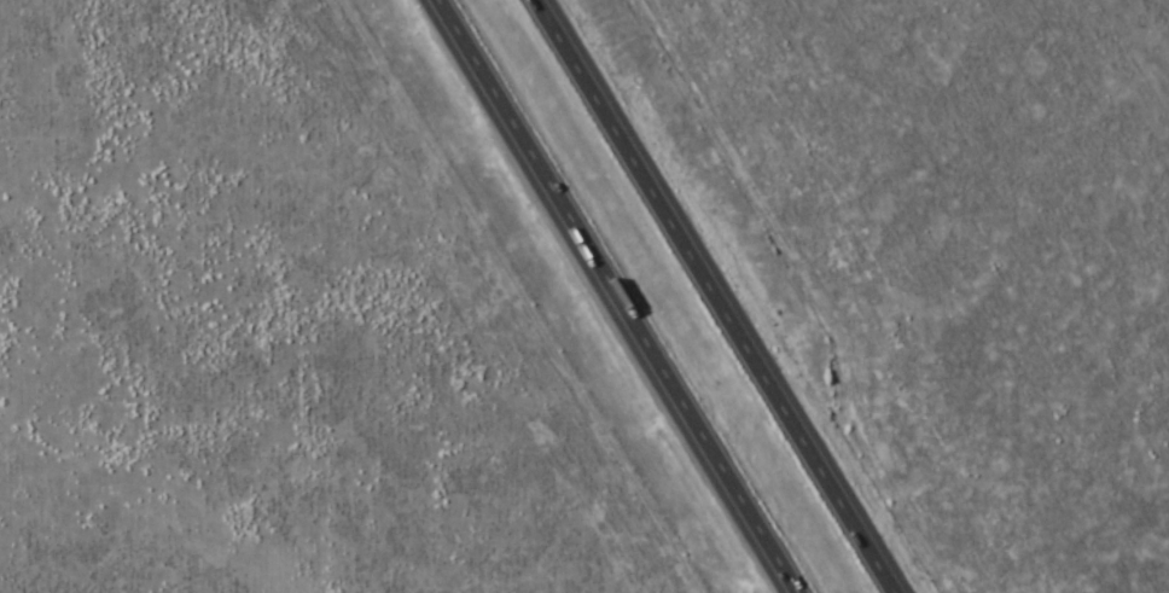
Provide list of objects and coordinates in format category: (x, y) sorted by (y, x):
road: (627, 296)
road: (716, 296)

